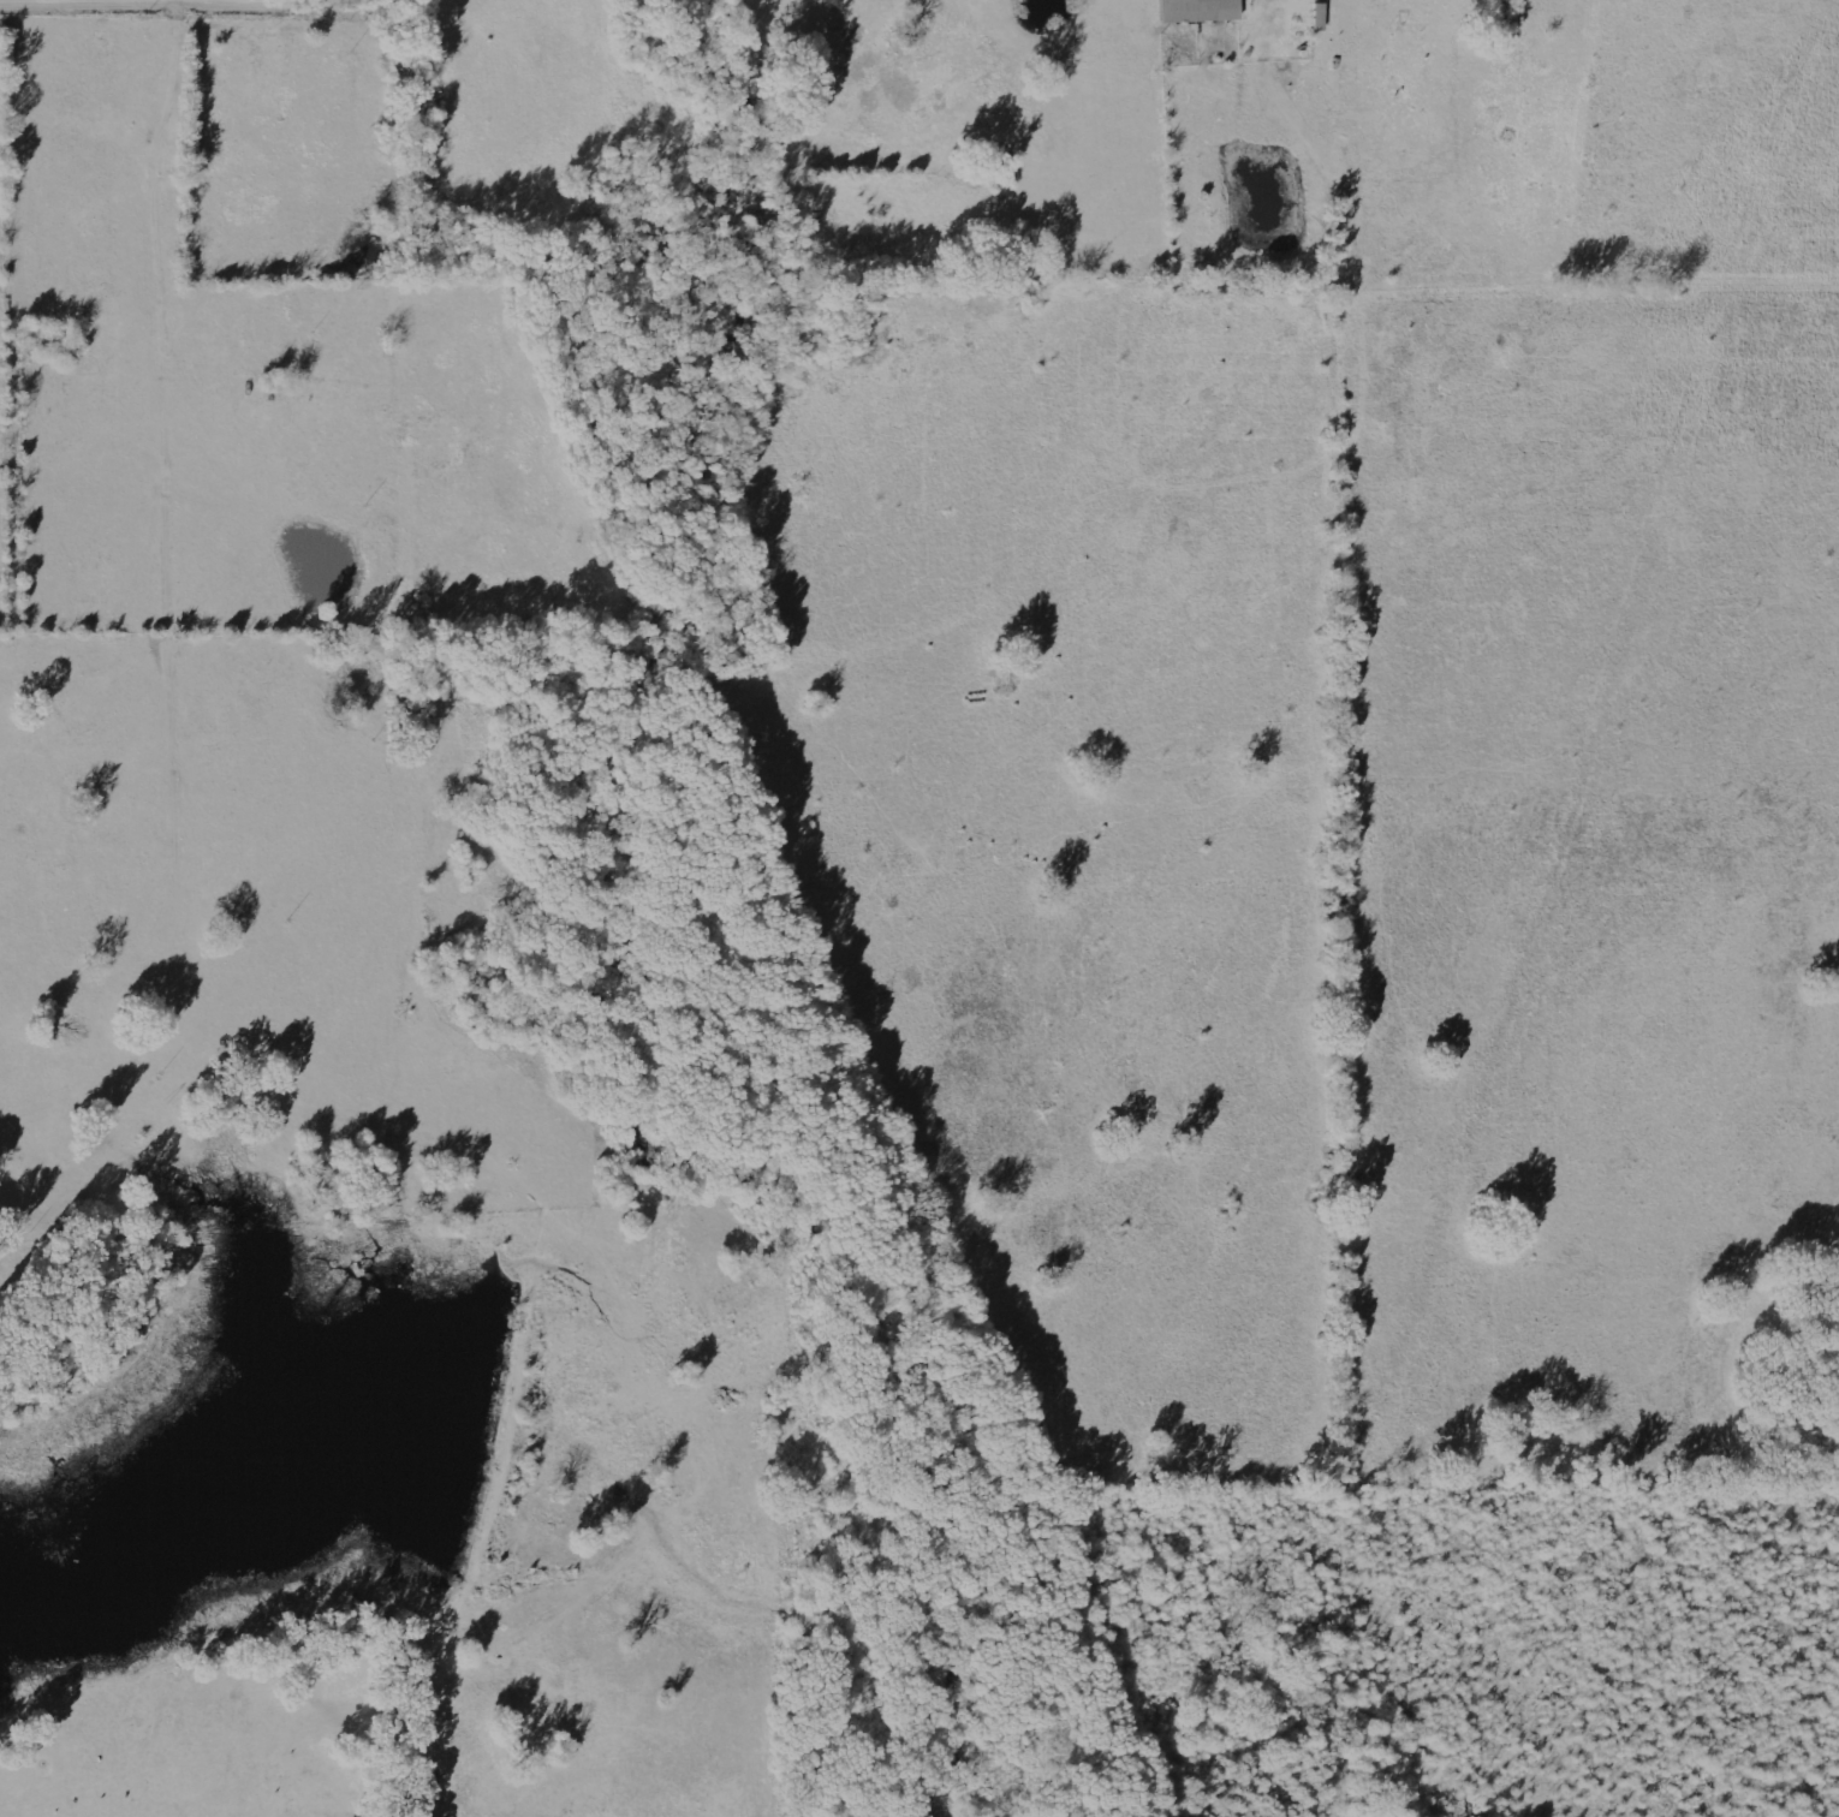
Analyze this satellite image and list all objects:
road: (160, 2)

